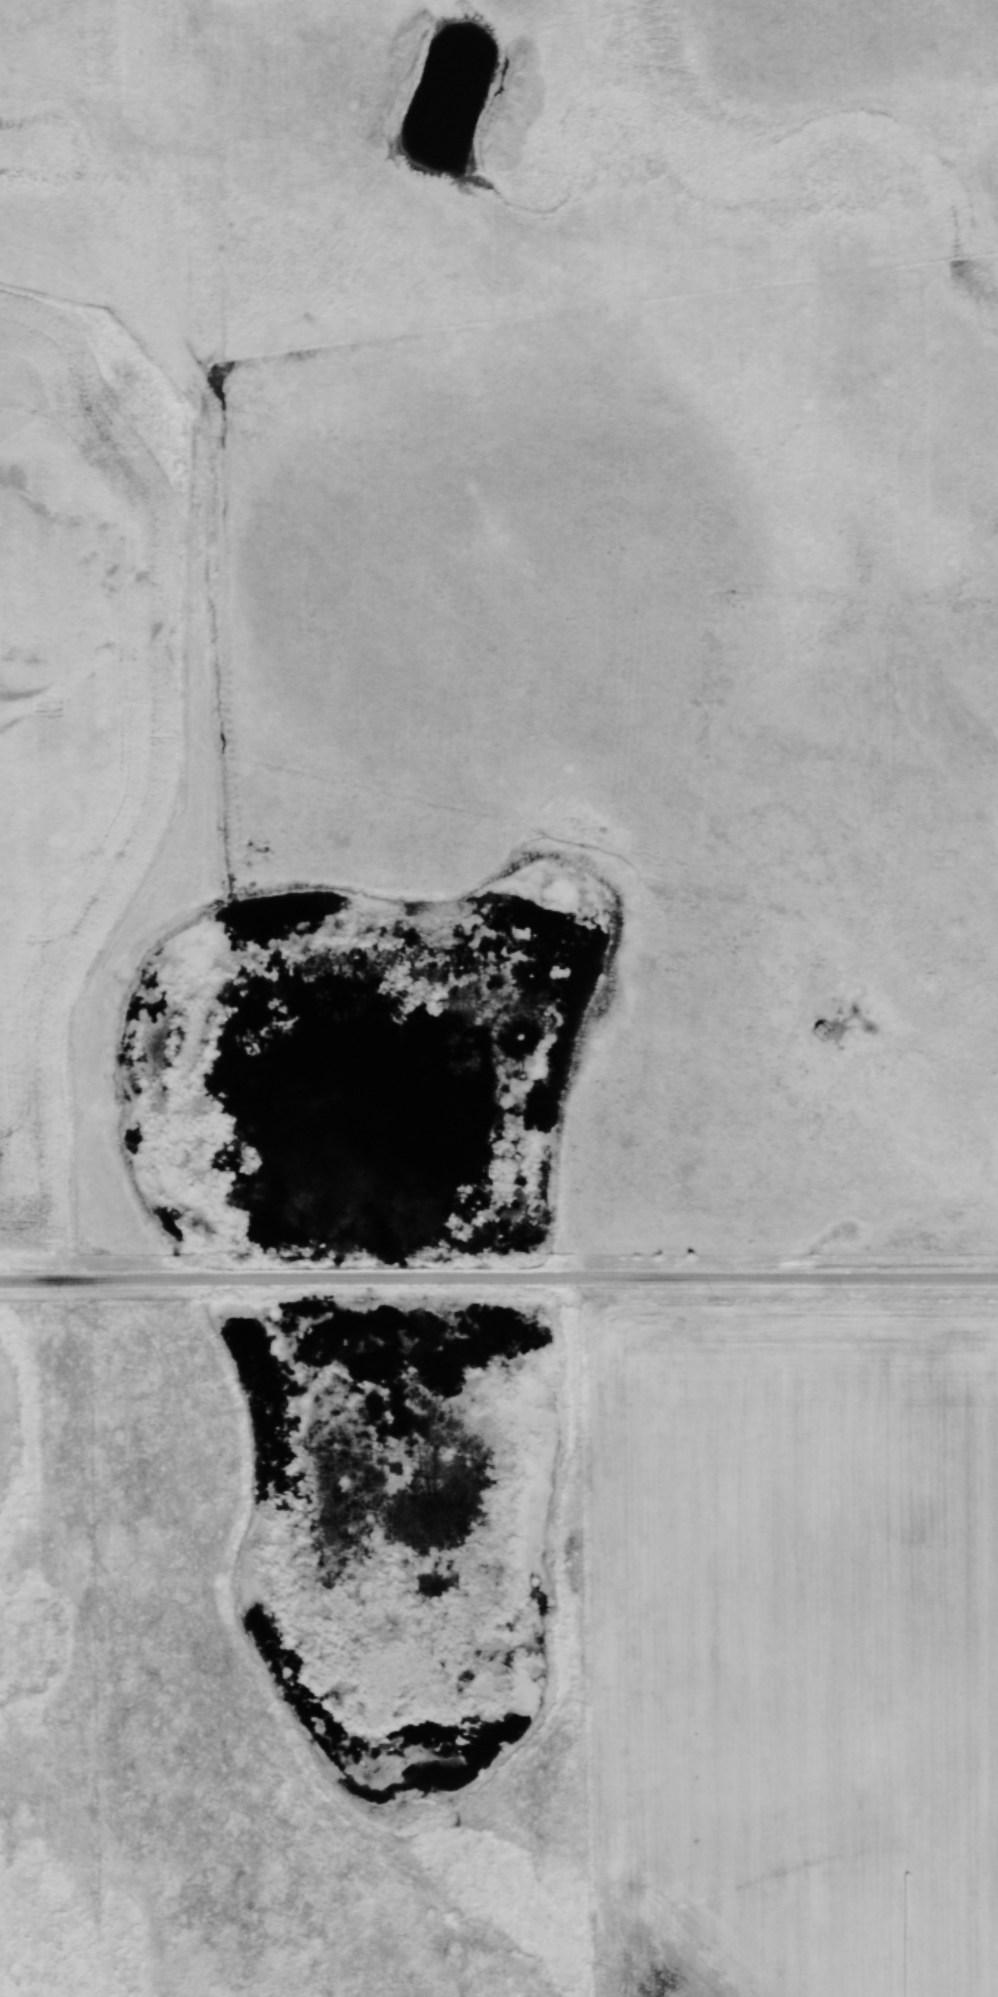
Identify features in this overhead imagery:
road: (499, 1282)

